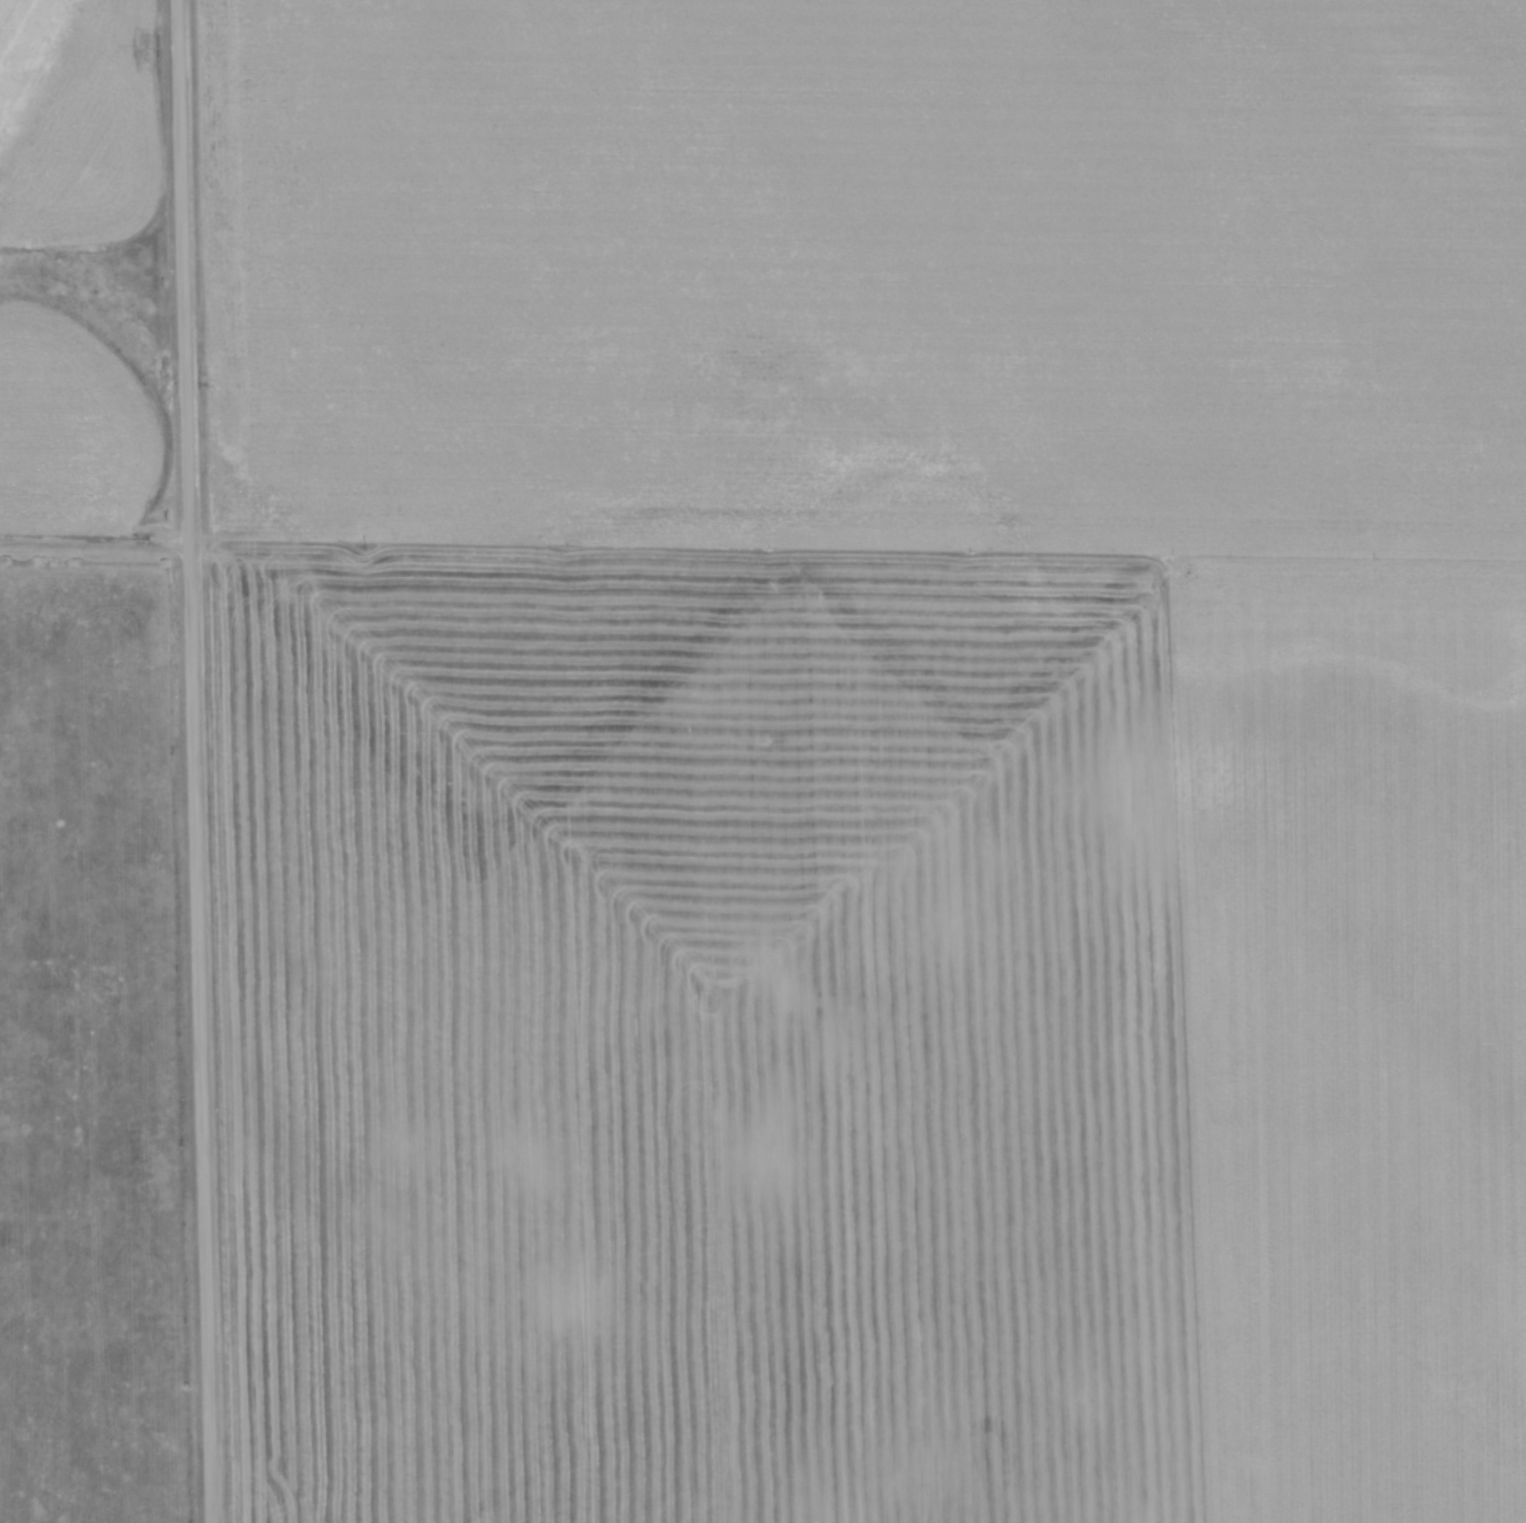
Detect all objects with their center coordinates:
road: (196, 761)

